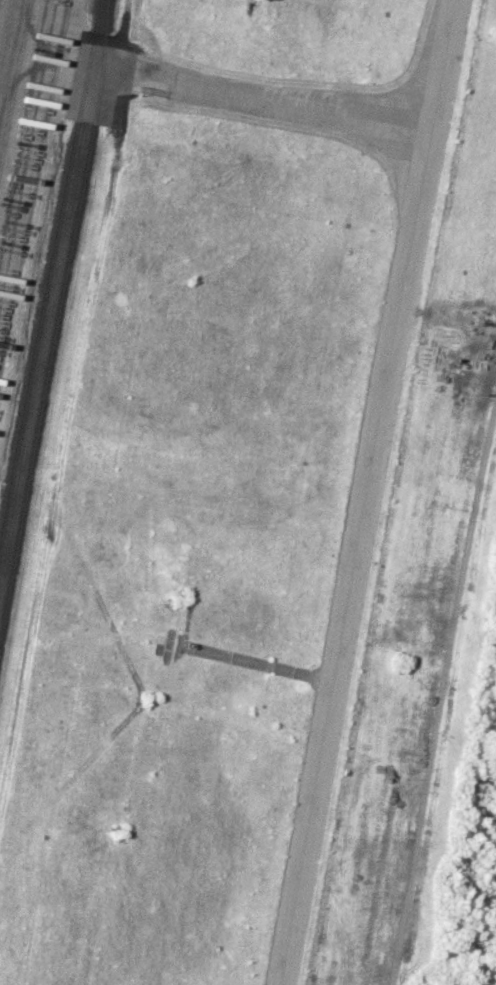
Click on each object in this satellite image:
railway: (50, 278)
railway: (58, 328)
road: (444, 697)

